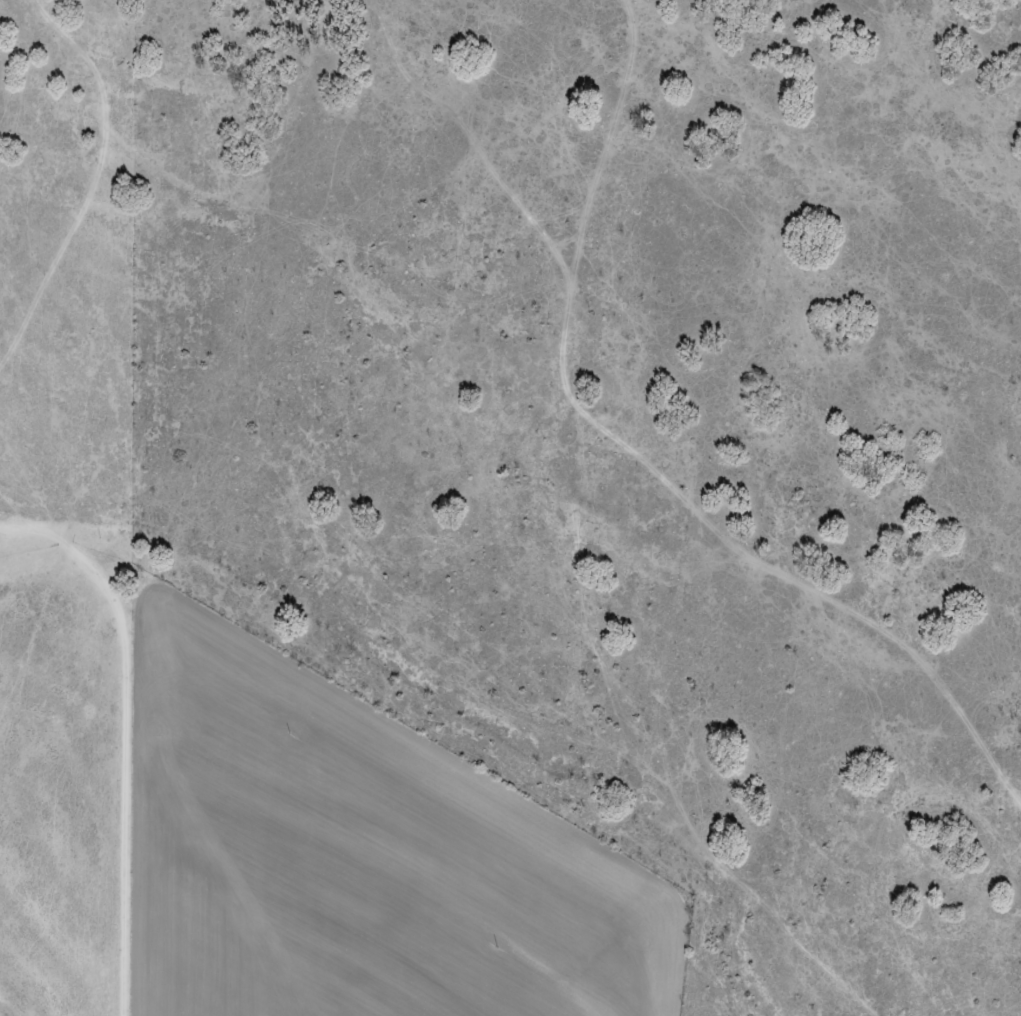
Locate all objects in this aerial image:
road: (116, 737)

